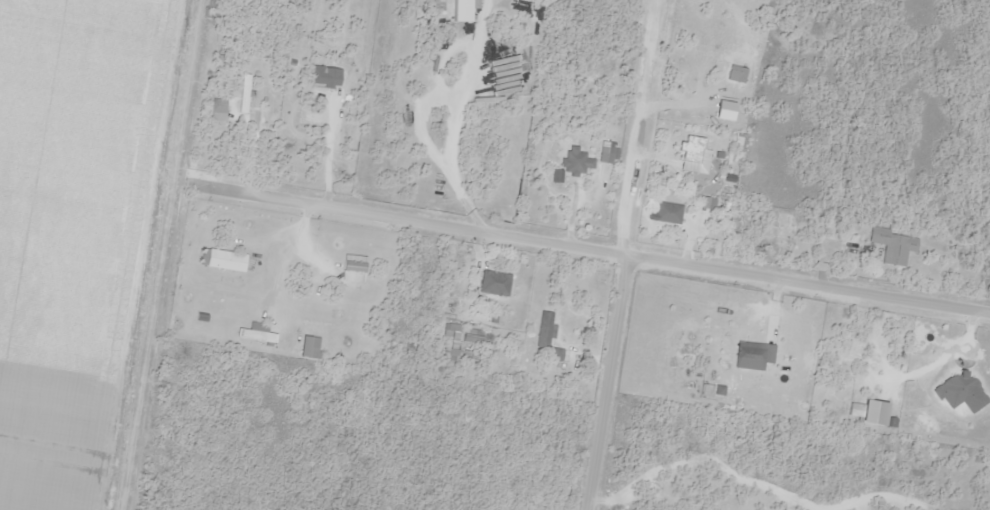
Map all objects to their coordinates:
building: (464, 10)
building: (245, 93)
building: (219, 113)
building: (577, 161)
building: (665, 212)
building: (891, 245)
road: (589, 250)
building: (226, 260)
building: (355, 272)
building: (495, 283)
building: (451, 331)
building: (256, 333)
building: (547, 337)
building: (310, 347)
building: (747, 352)
building: (451, 354)
road: (606, 383)

